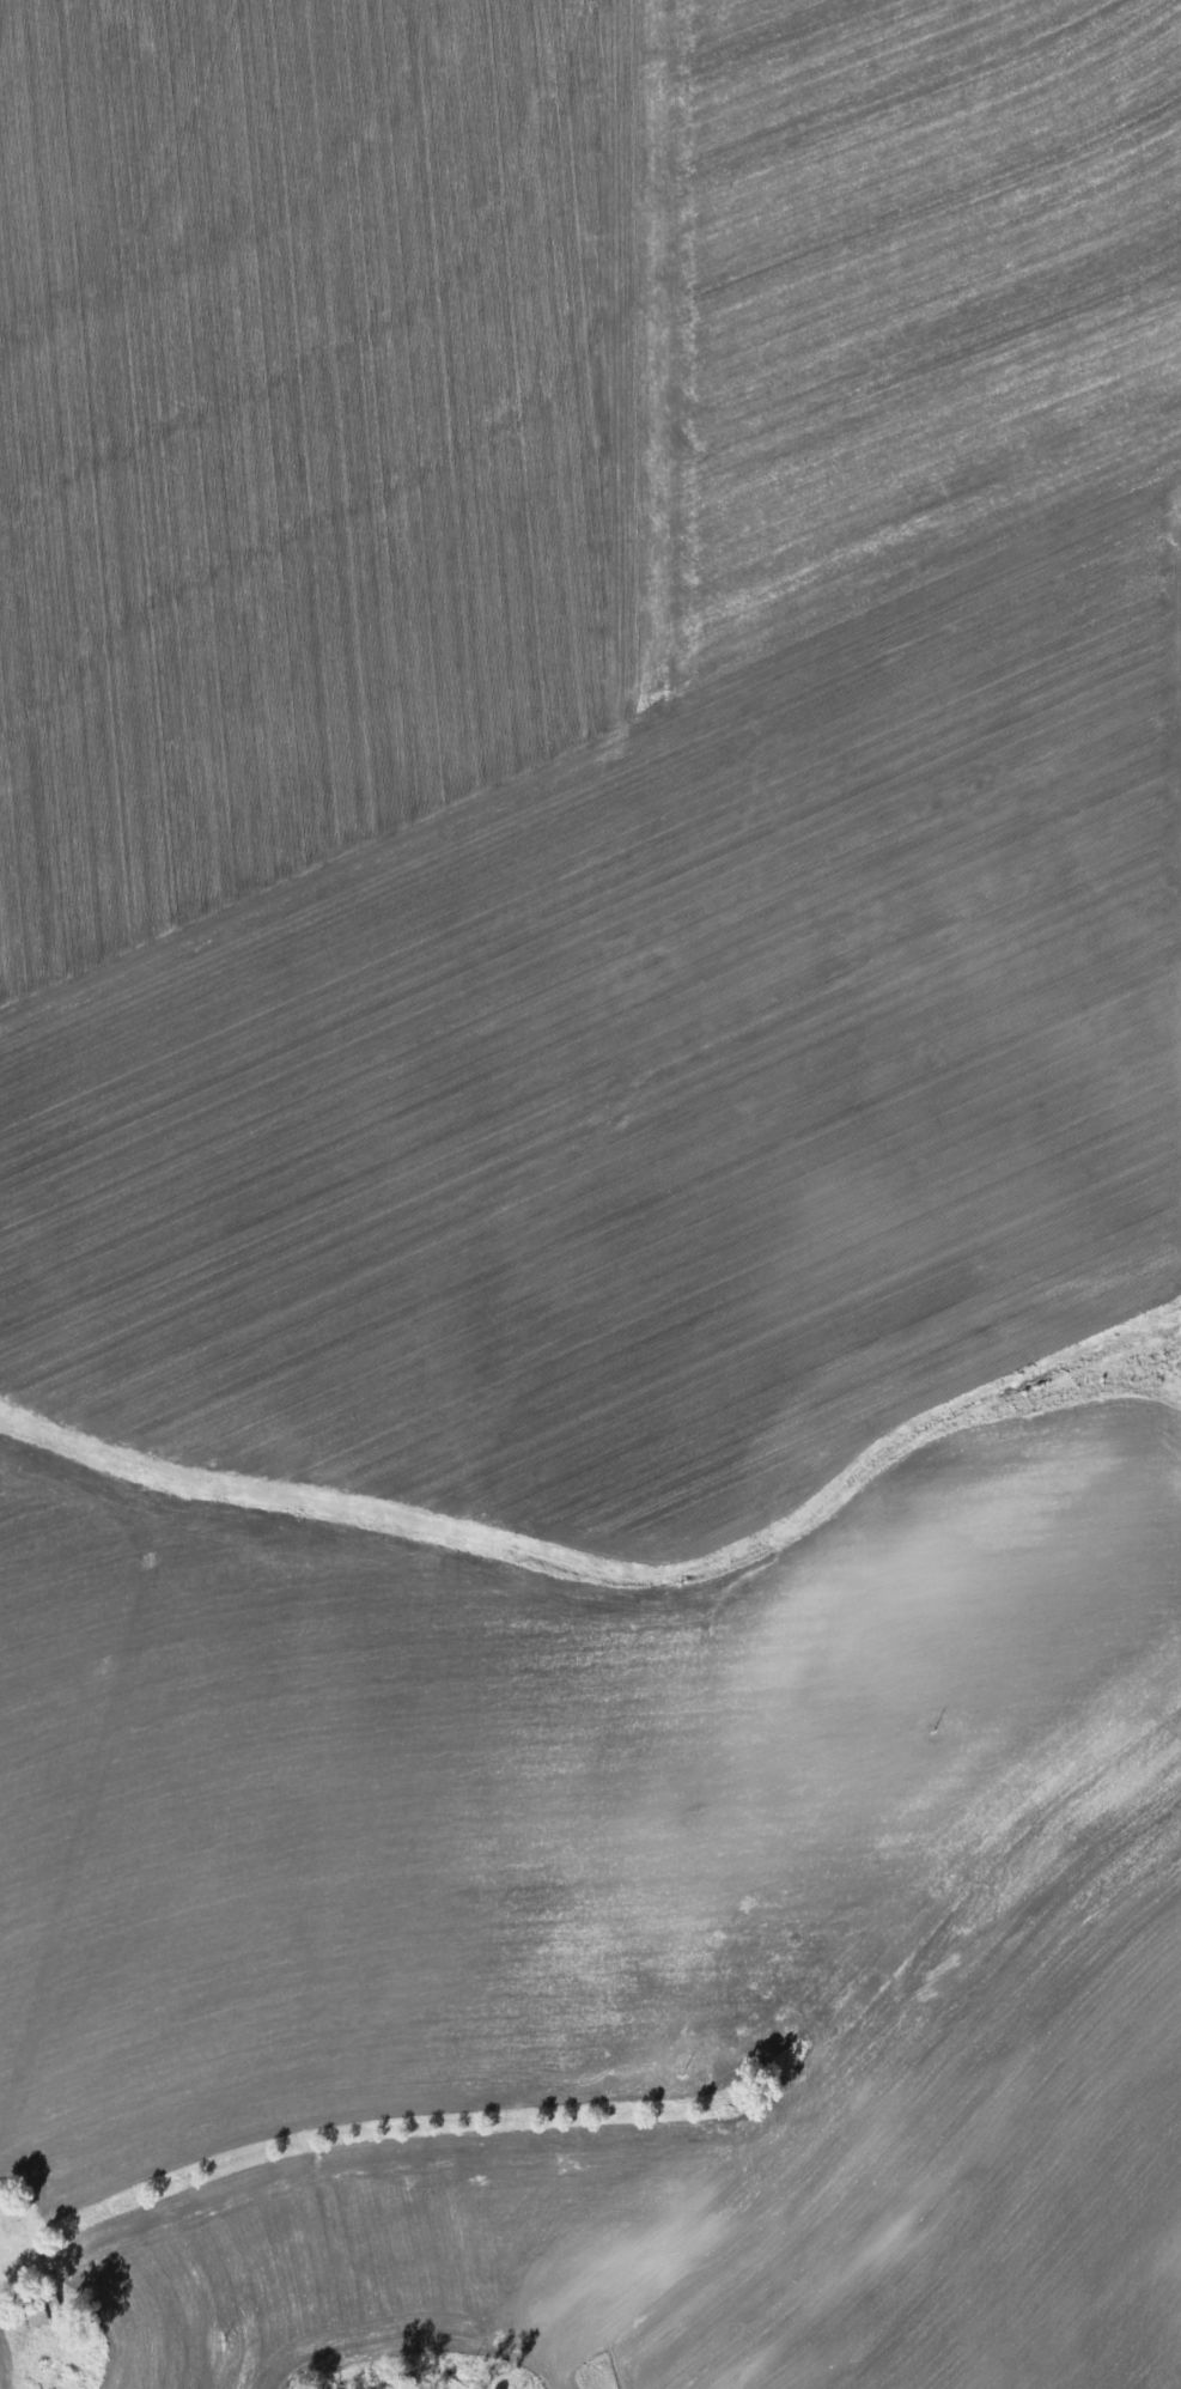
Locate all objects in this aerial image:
road: (413, 2135)

